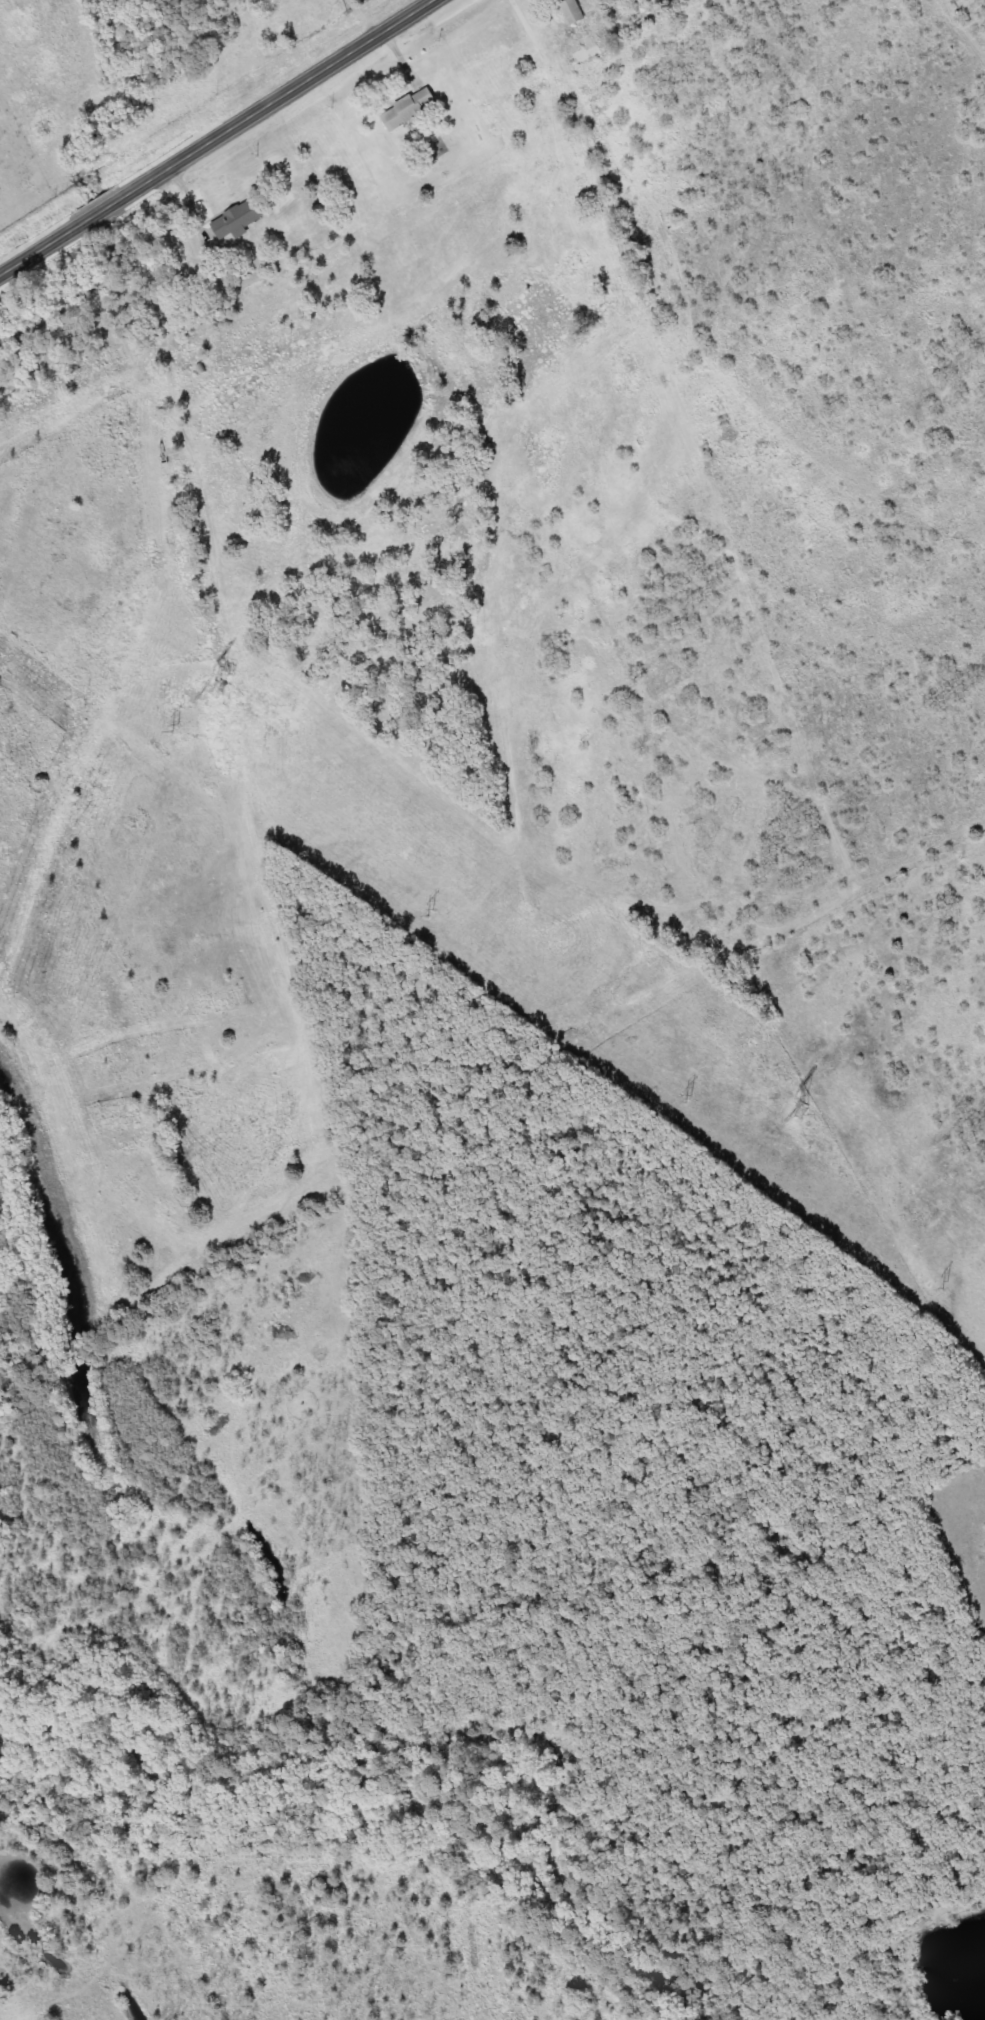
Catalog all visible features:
building: (570, 11)
building: (585, 50)
building: (407, 109)
road: (211, 136)
building: (235, 221)
power tower: (221, 688)
power tower: (177, 728)
power tower: (430, 911)
power tower: (689, 1098)
power tower: (803, 1111)
power tower: (945, 1285)

